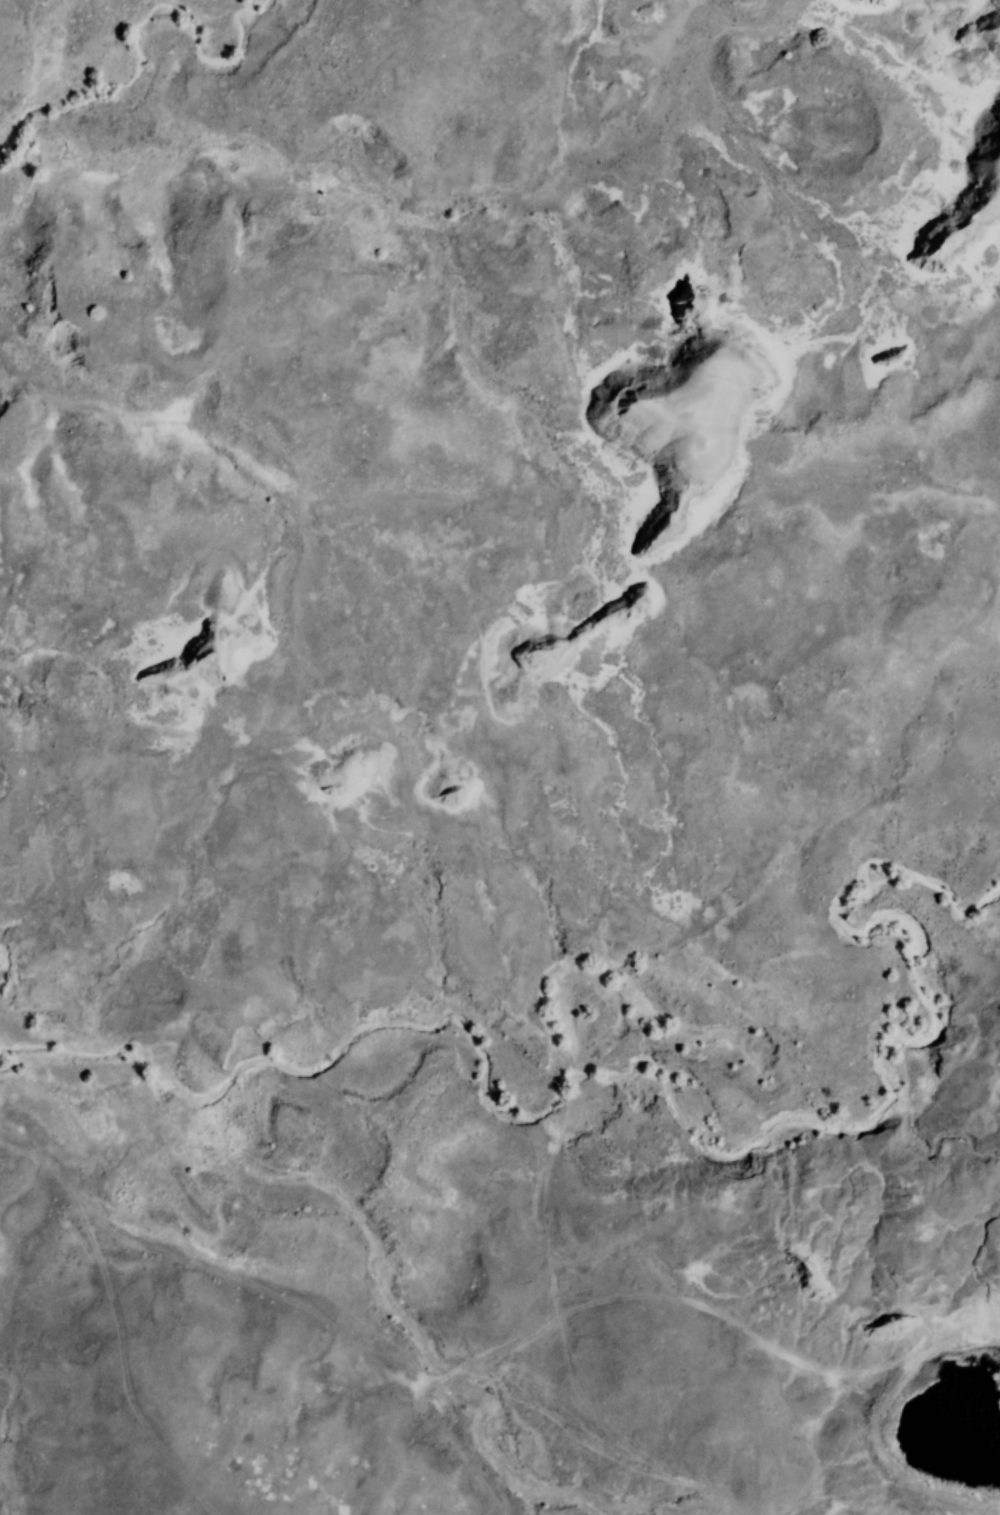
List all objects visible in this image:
road: (318, 1308)
road: (117, 1323)
road: (739, 1328)
road: (915, 1483)

